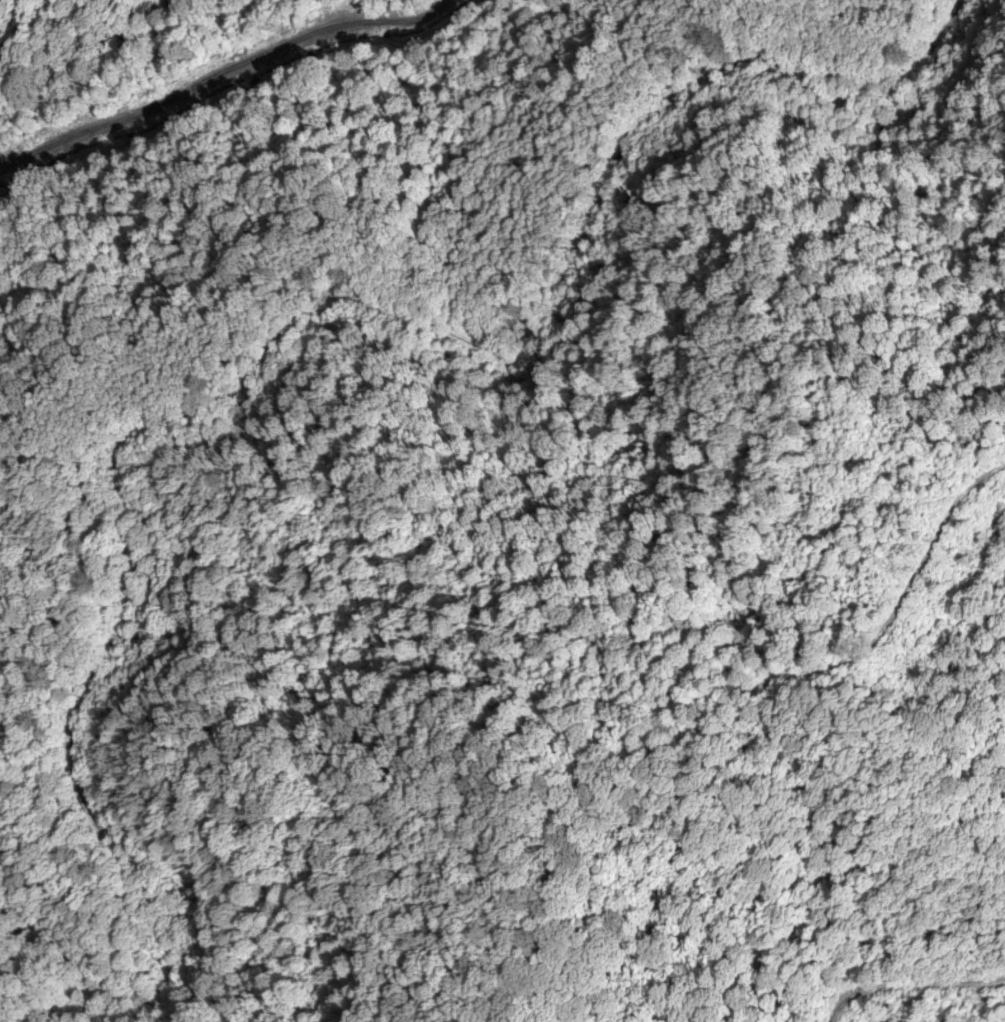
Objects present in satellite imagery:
road: (219, 70)

